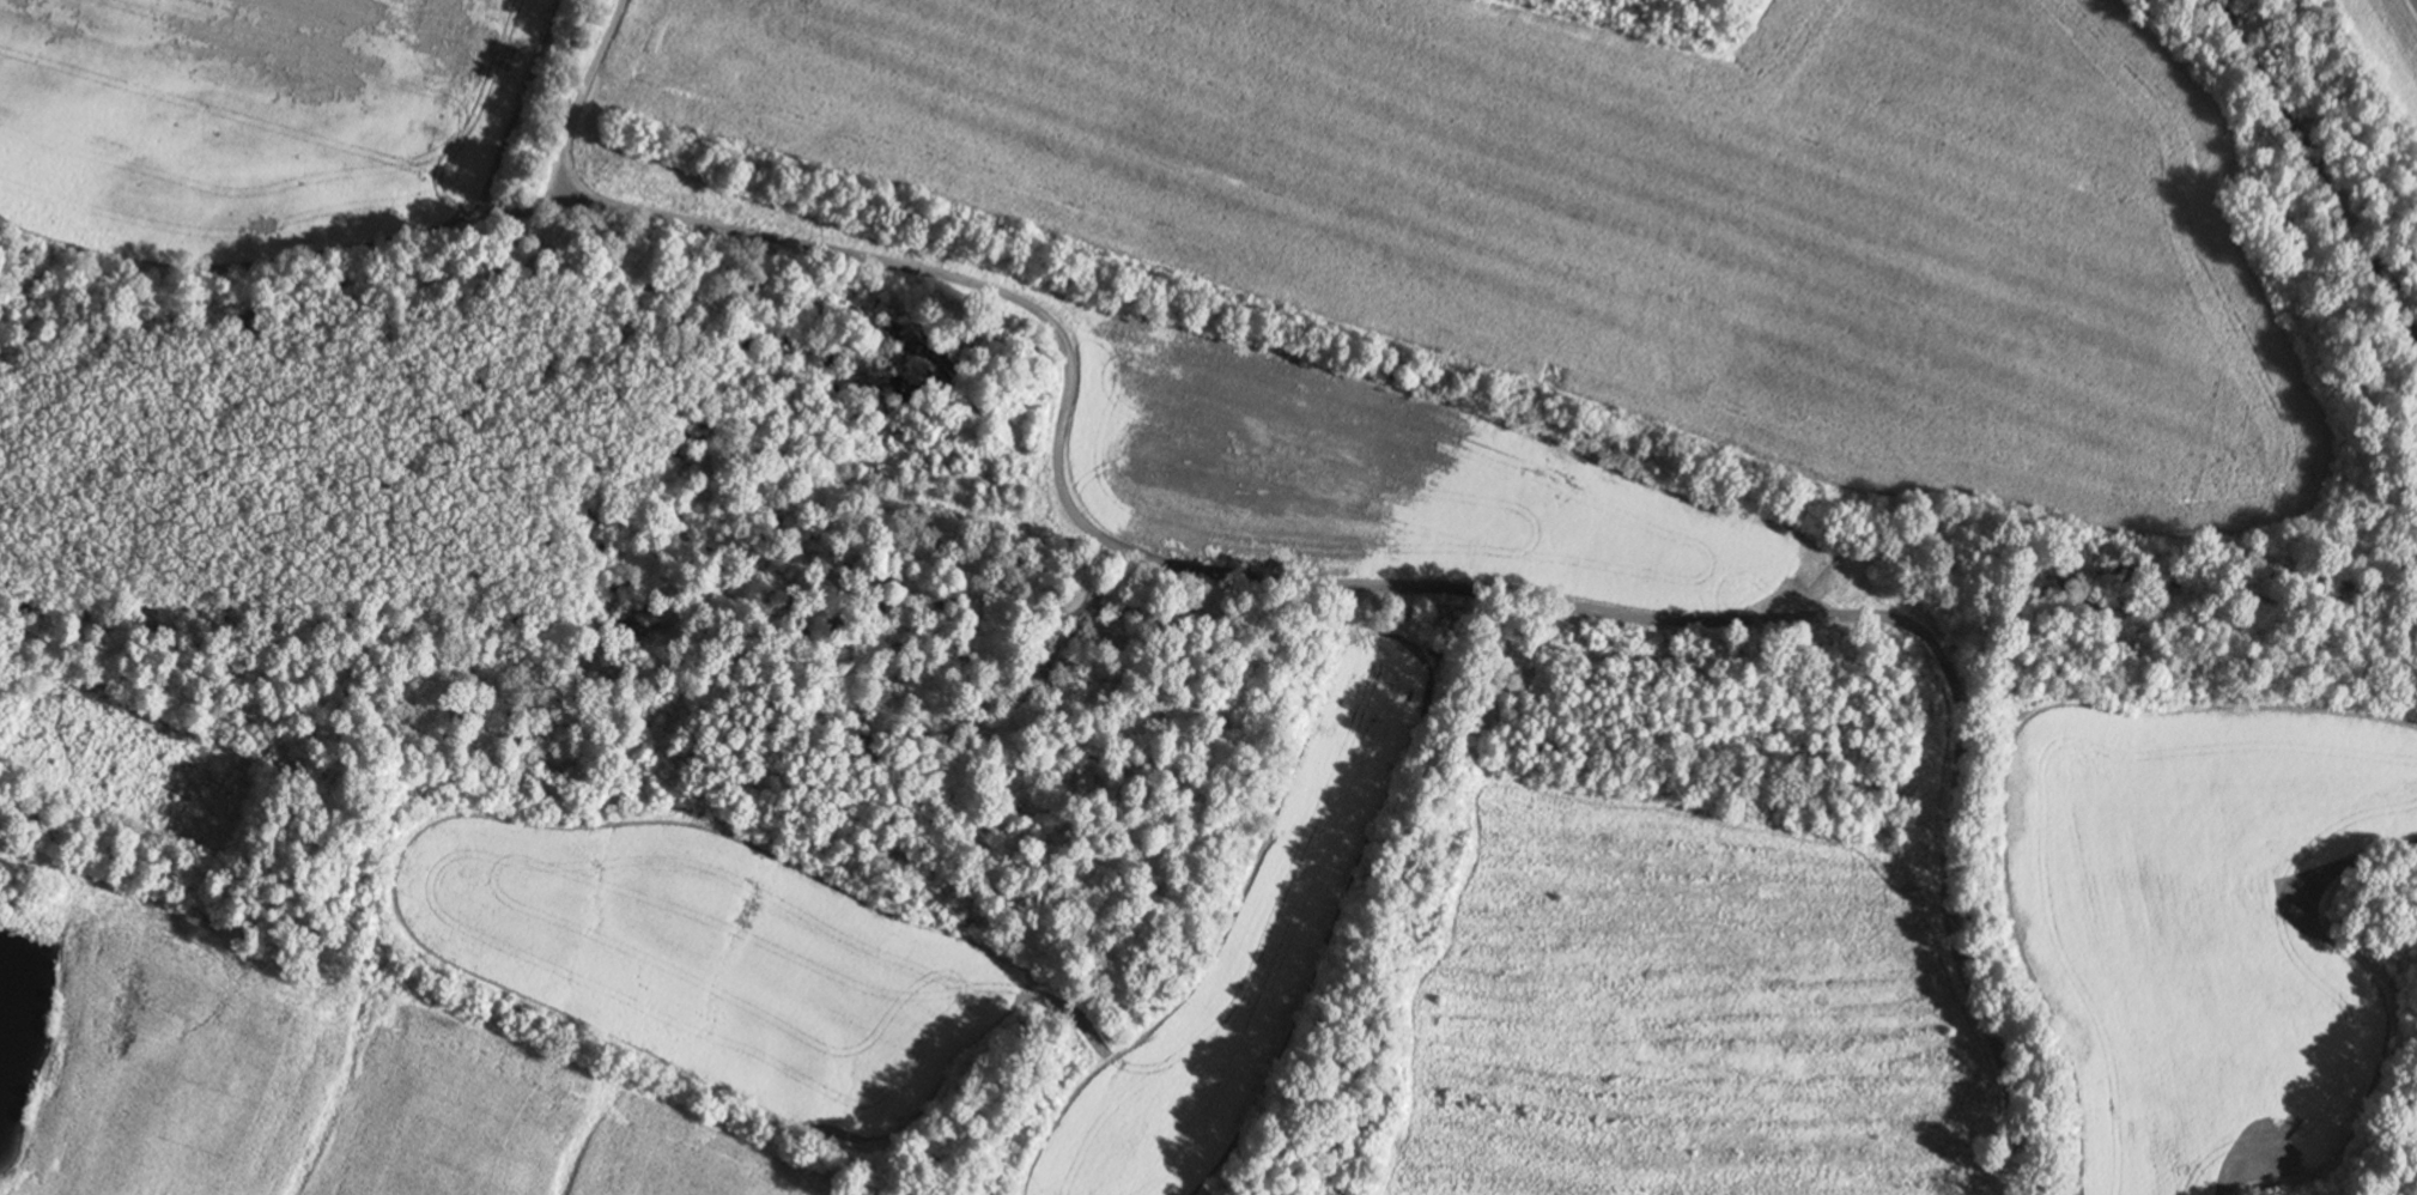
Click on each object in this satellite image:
road: (2412, 6)

